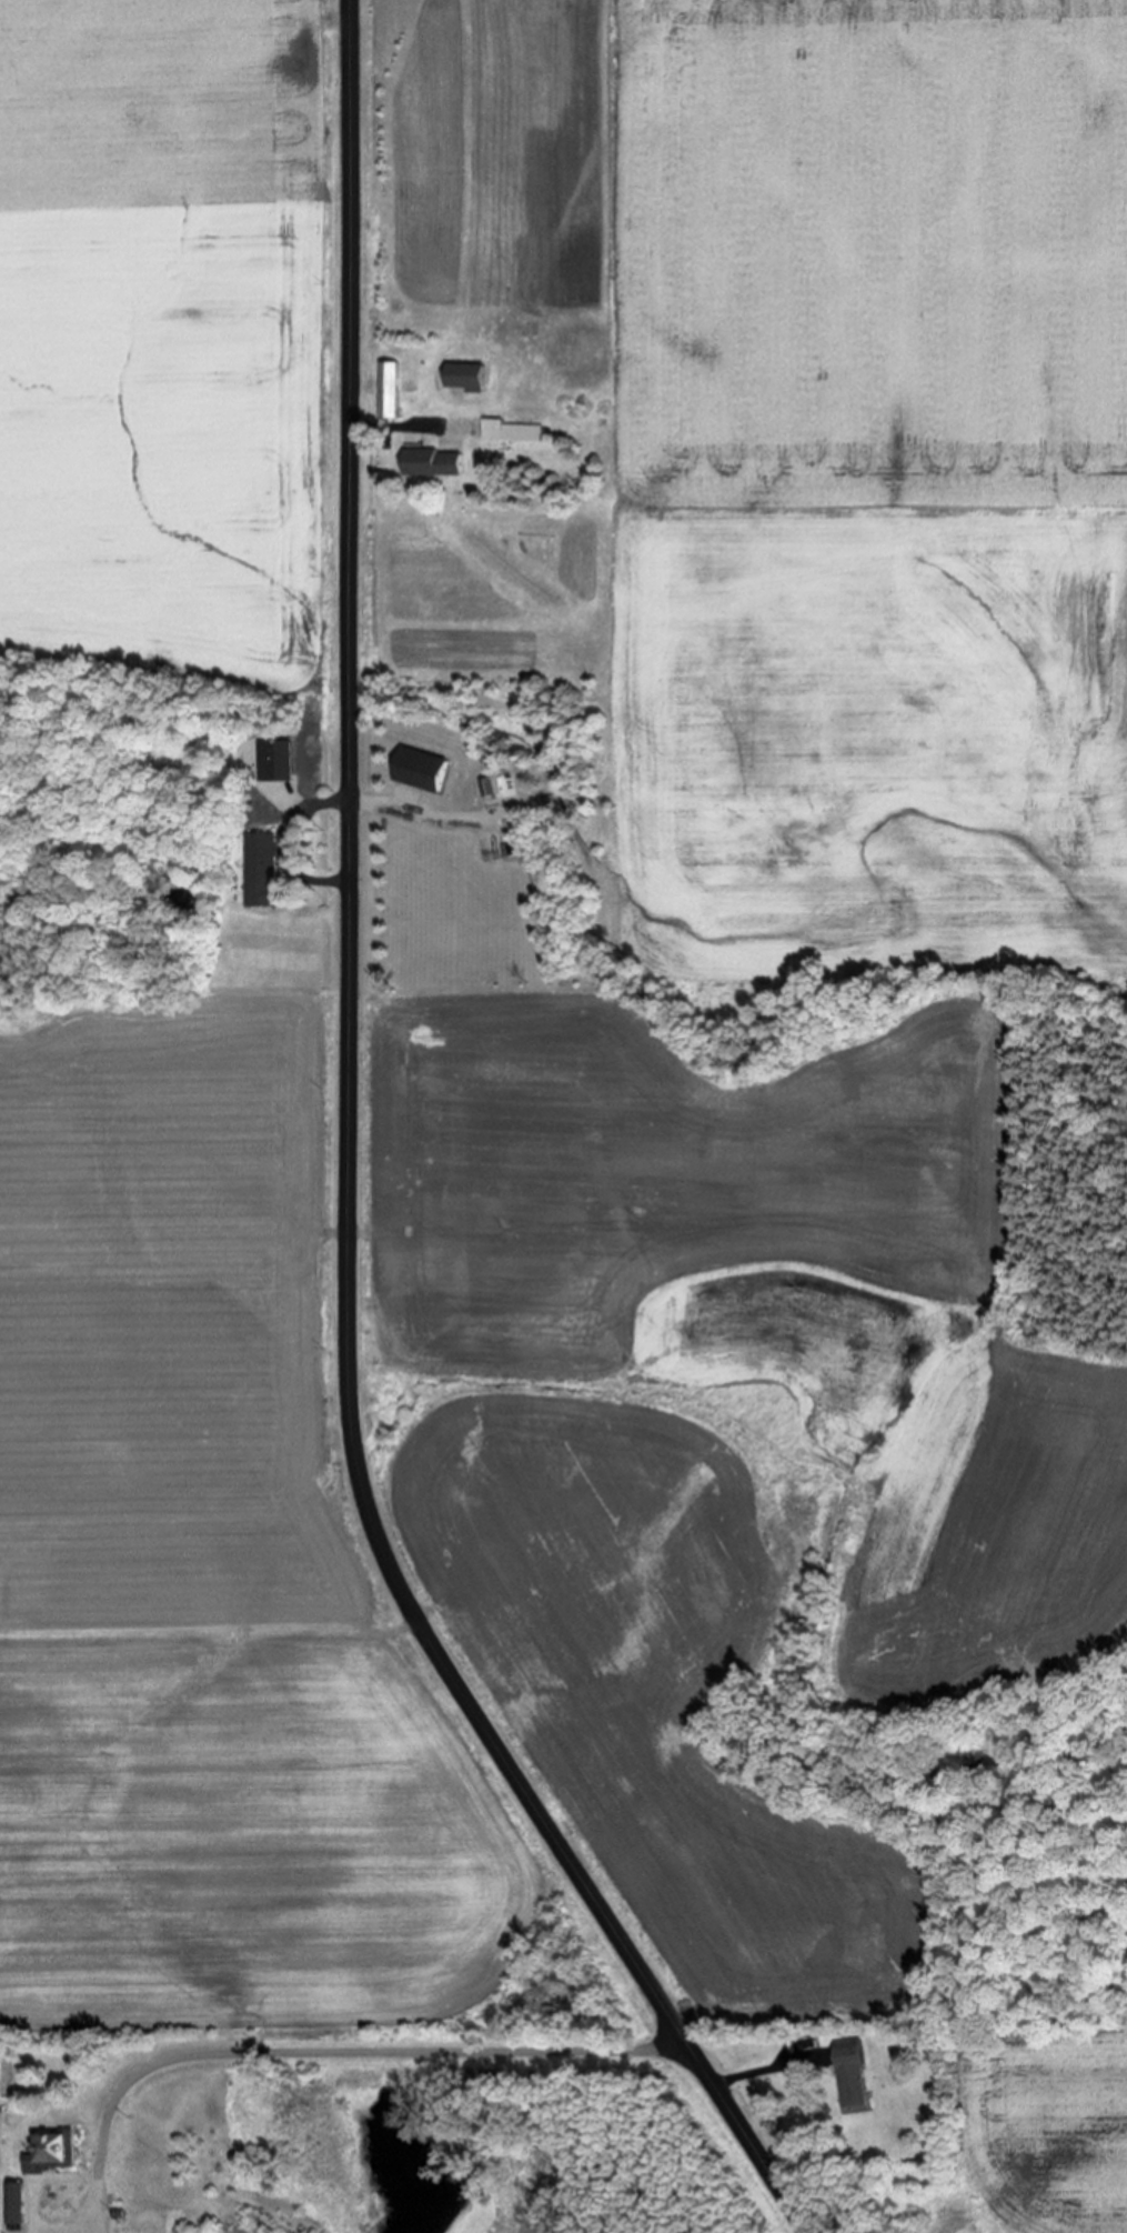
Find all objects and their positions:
building: (461, 379)
building: (386, 392)
road: (384, 428)
building: (507, 433)
building: (431, 464)
building: (281, 761)
building: (420, 772)
road: (338, 804)
building: (268, 874)
road: (350, 1180)
road: (459, 2050)
building: (846, 2074)
road: (755, 2077)
road: (119, 2100)
building: (58, 2155)
building: (19, 2206)

